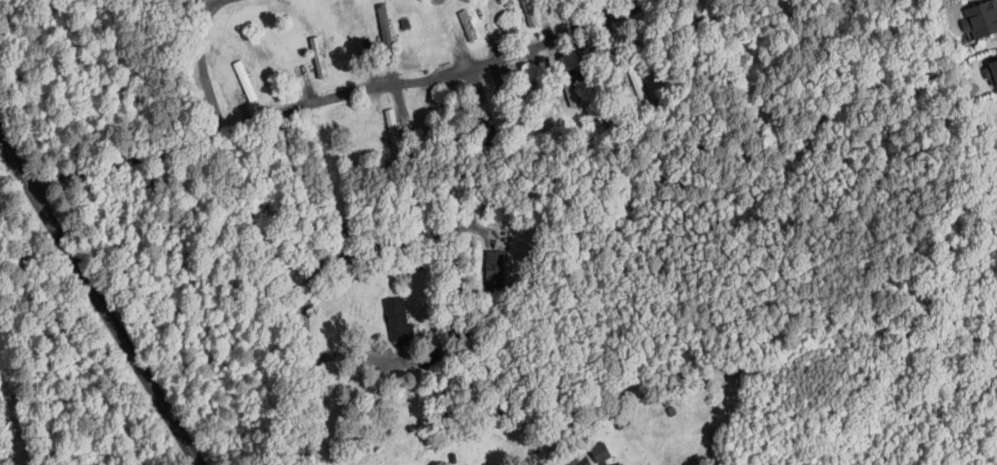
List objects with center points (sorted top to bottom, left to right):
building: (530, 12)
building: (980, 17)
building: (384, 22)
building: (467, 24)
building: (317, 56)
road: (205, 66)
building: (992, 71)
road: (449, 77)
building: (492, 102)
building: (392, 126)
road: (120, 160)
road: (12, 185)
road: (350, 255)
building: (495, 265)
road: (98, 303)
building: (397, 319)
road: (311, 370)
building: (600, 451)
road: (583, 462)

